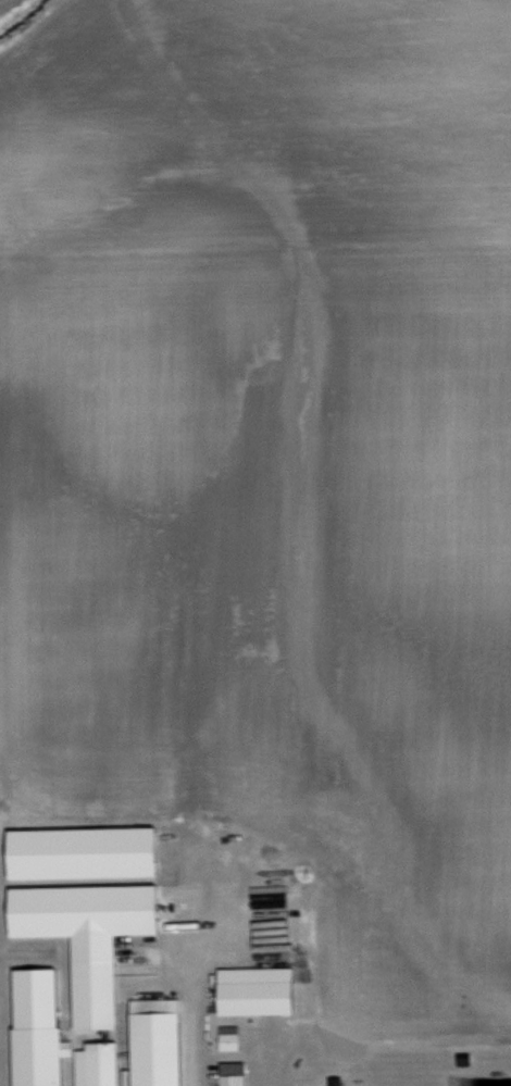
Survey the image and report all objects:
building: (86, 850)
building: (92, 936)
building: (259, 989)
building: (40, 1027)
building: (229, 1036)
building: (158, 1041)
building: (99, 1063)
building: (71, 1068)
building: (234, 1074)
building: (336, 1081)

